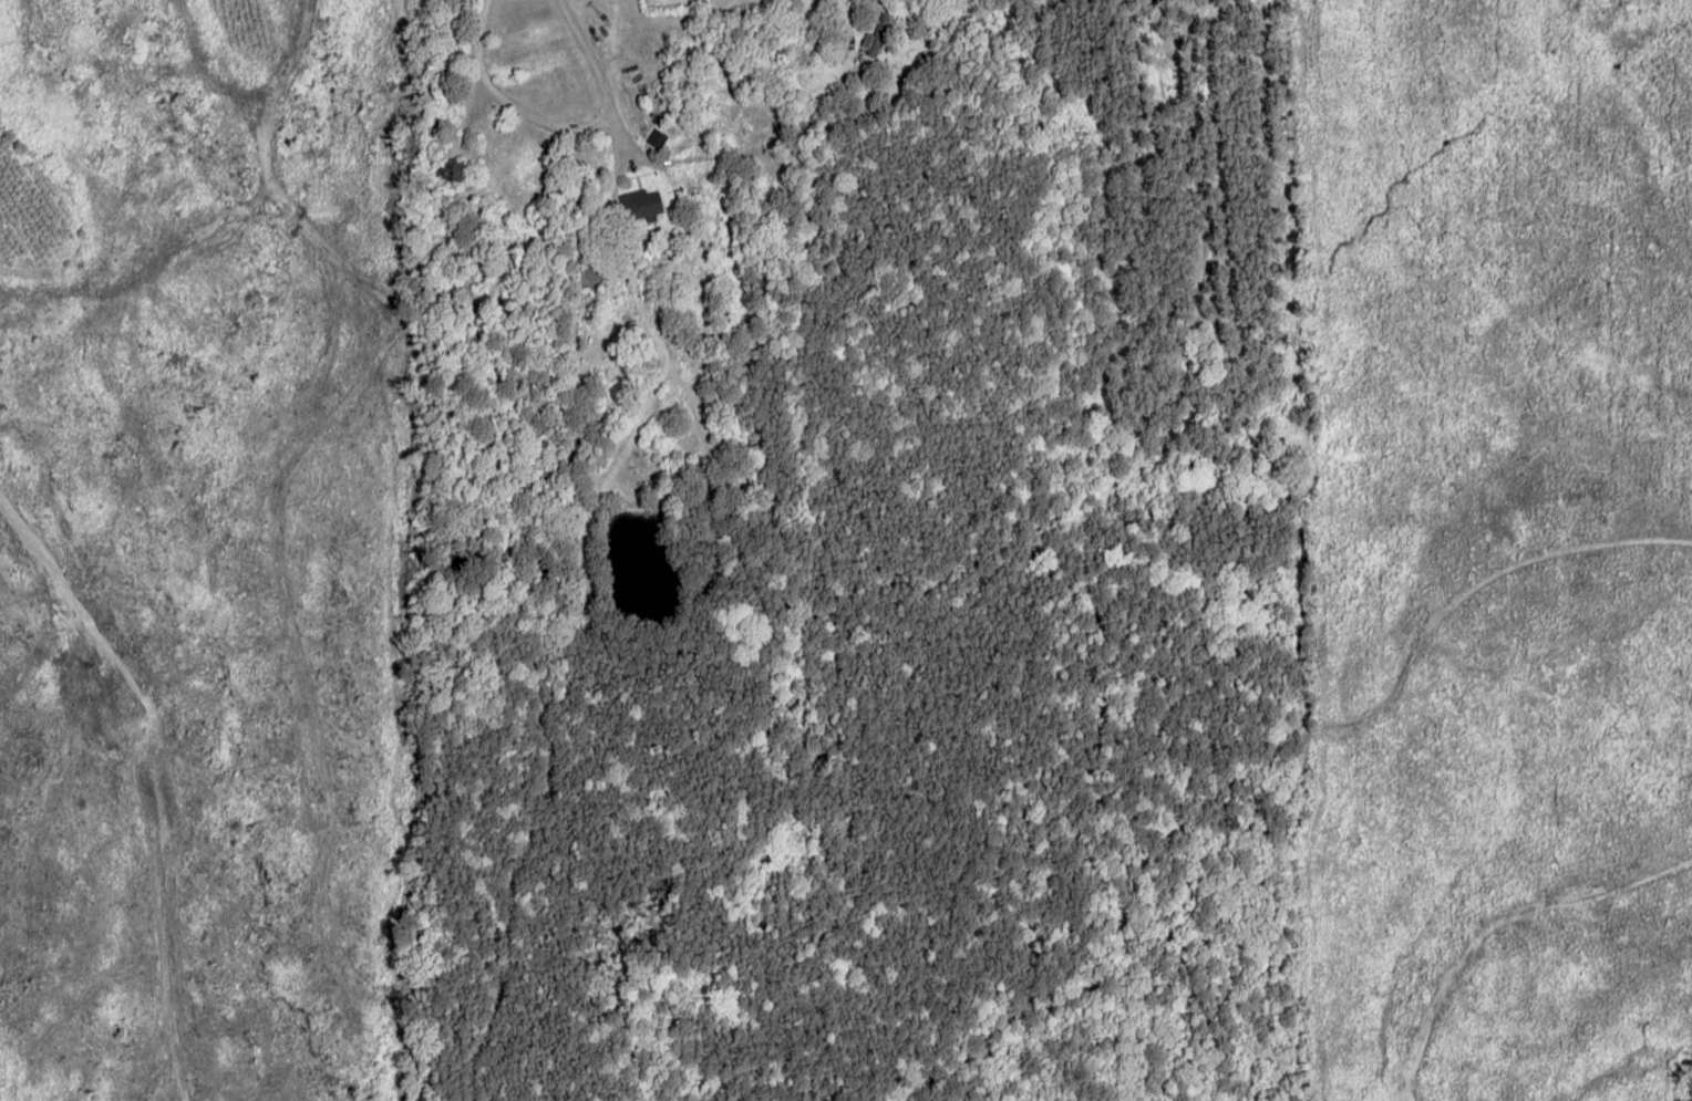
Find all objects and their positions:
building: (876, 34)
road: (581, 51)
road: (457, 52)
building: (452, 175)
building: (639, 204)

